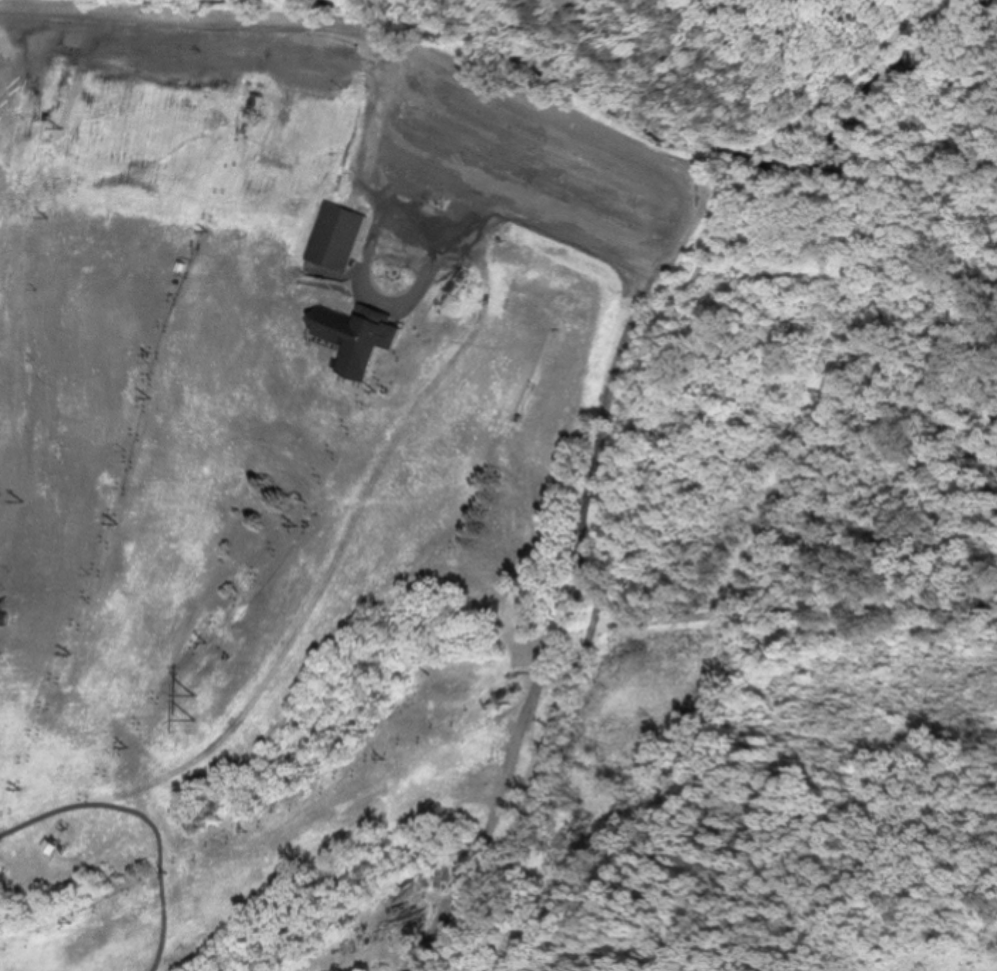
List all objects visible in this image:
road: (133, 15)
road: (848, 83)
aerialway pylon: (50, 141)
road: (754, 160)
parking lot: (526, 166)
aerialway pylon: (25, 227)
aerialway pylon: (213, 230)
road: (670, 230)
building: (338, 237)
building: (369, 341)
aerialway pylon: (386, 389)
aerialway pylon: (154, 397)
ski resort: (257, 510)
aerialway pylon: (290, 519)
aerialway pylon: (110, 524)
park: (794, 525)
road: (604, 565)
road: (788, 609)
power tower: (117, 627)
aerialway pylon: (199, 643)
aerialway pylon: (64, 654)
aerialway pylon: (121, 748)
aerialway pylon: (375, 757)
aerialway pylon: (17, 789)
aerialway pylon: (63, 828)
aerialway pylon: (233, 832)
aerialway pylon: (159, 871)
park: (15, 895)
aerialway pylon: (65, 921)

